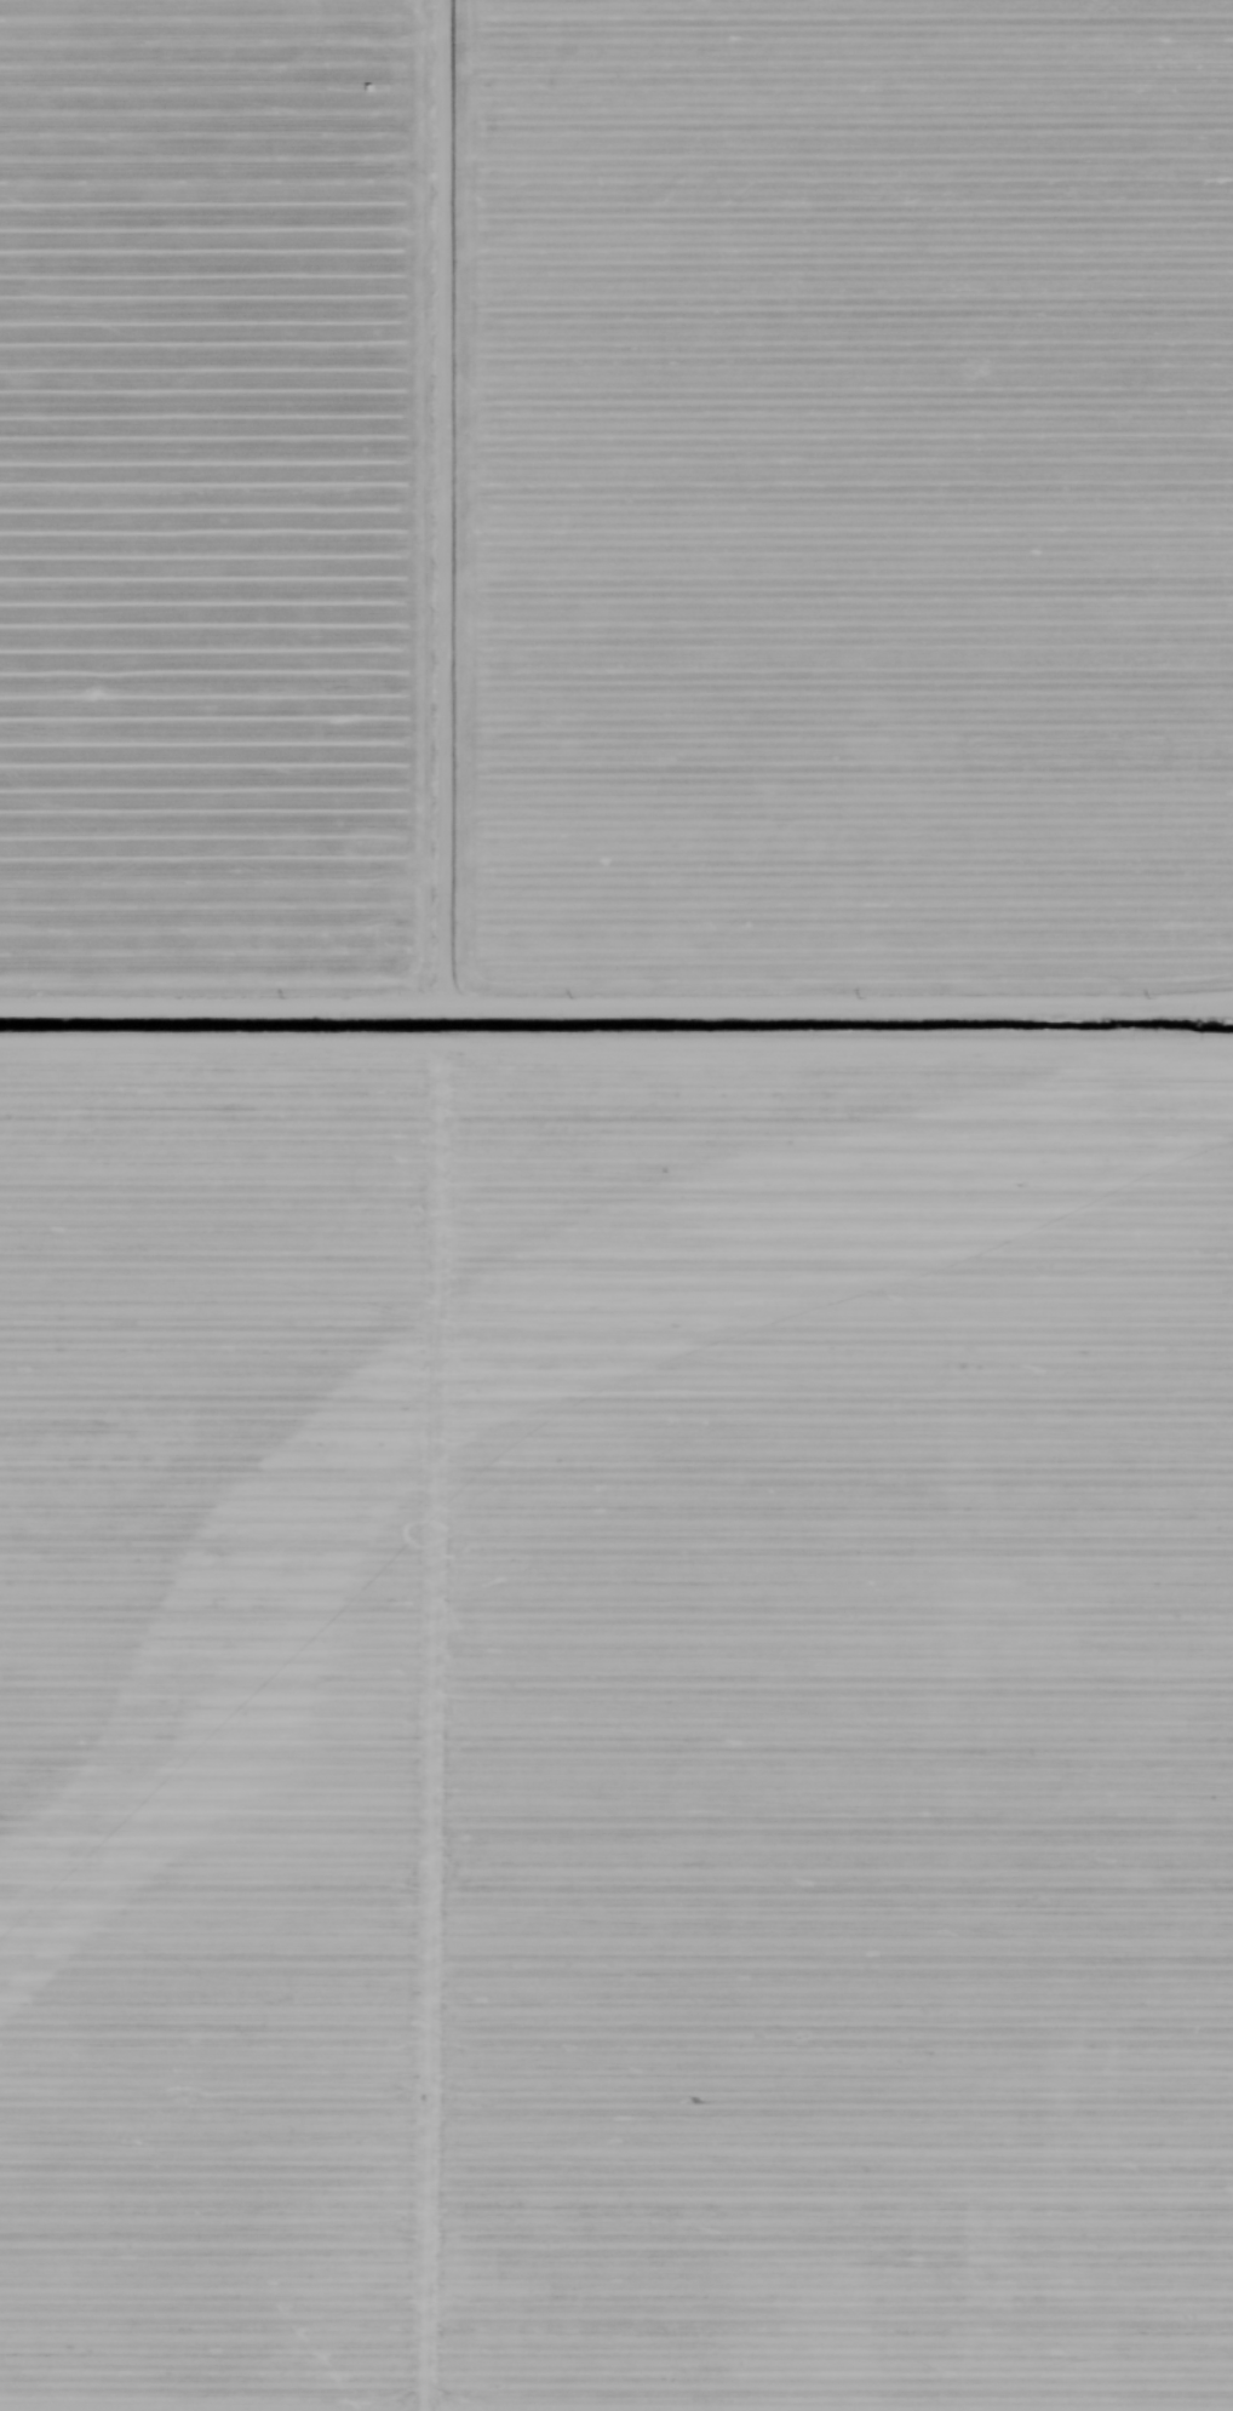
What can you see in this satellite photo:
road: (616, 1050)

